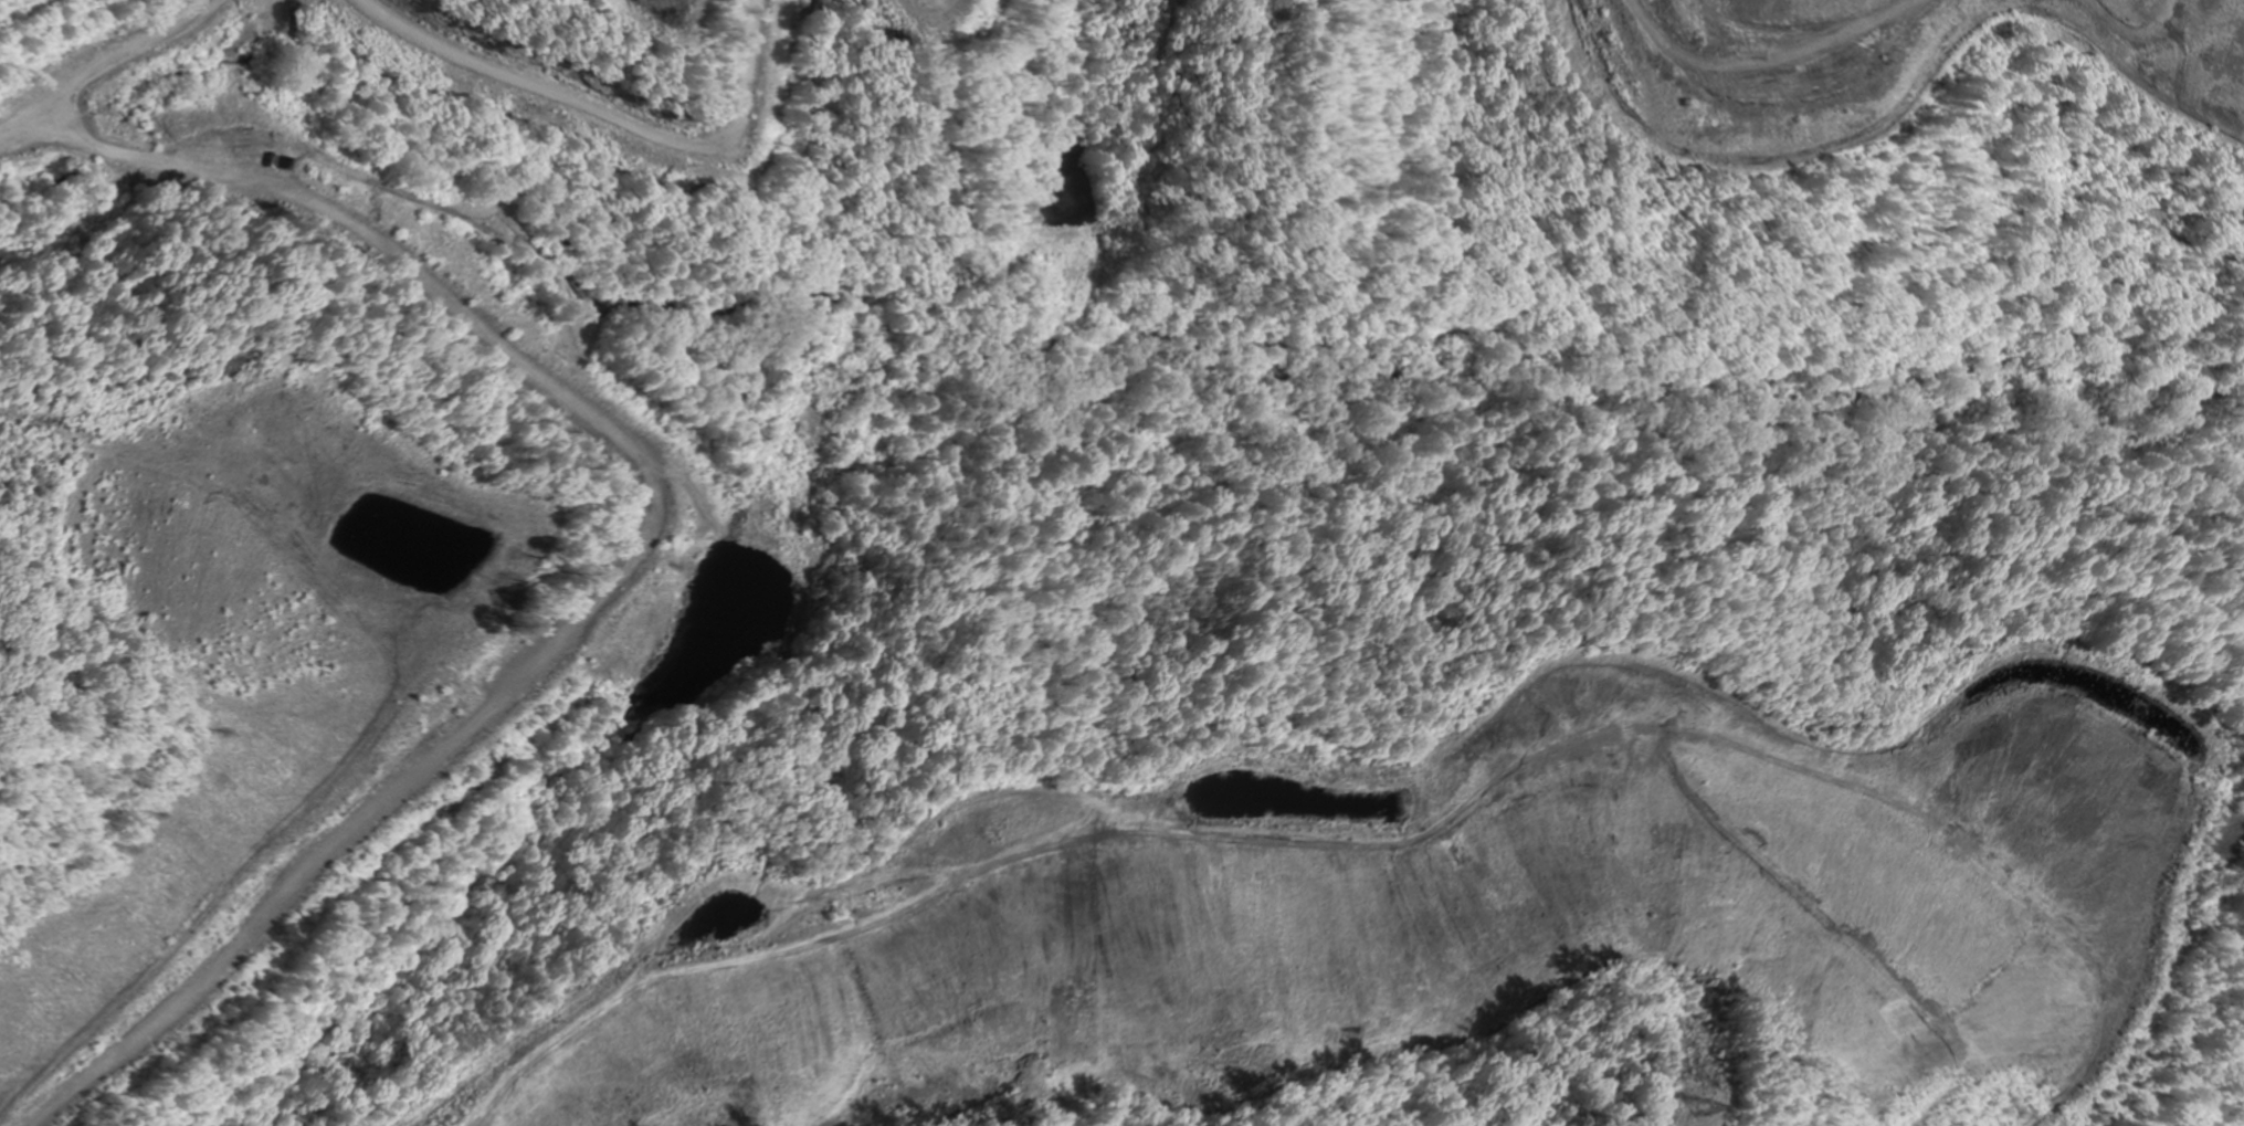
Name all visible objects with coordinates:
road: (1100, 394)

